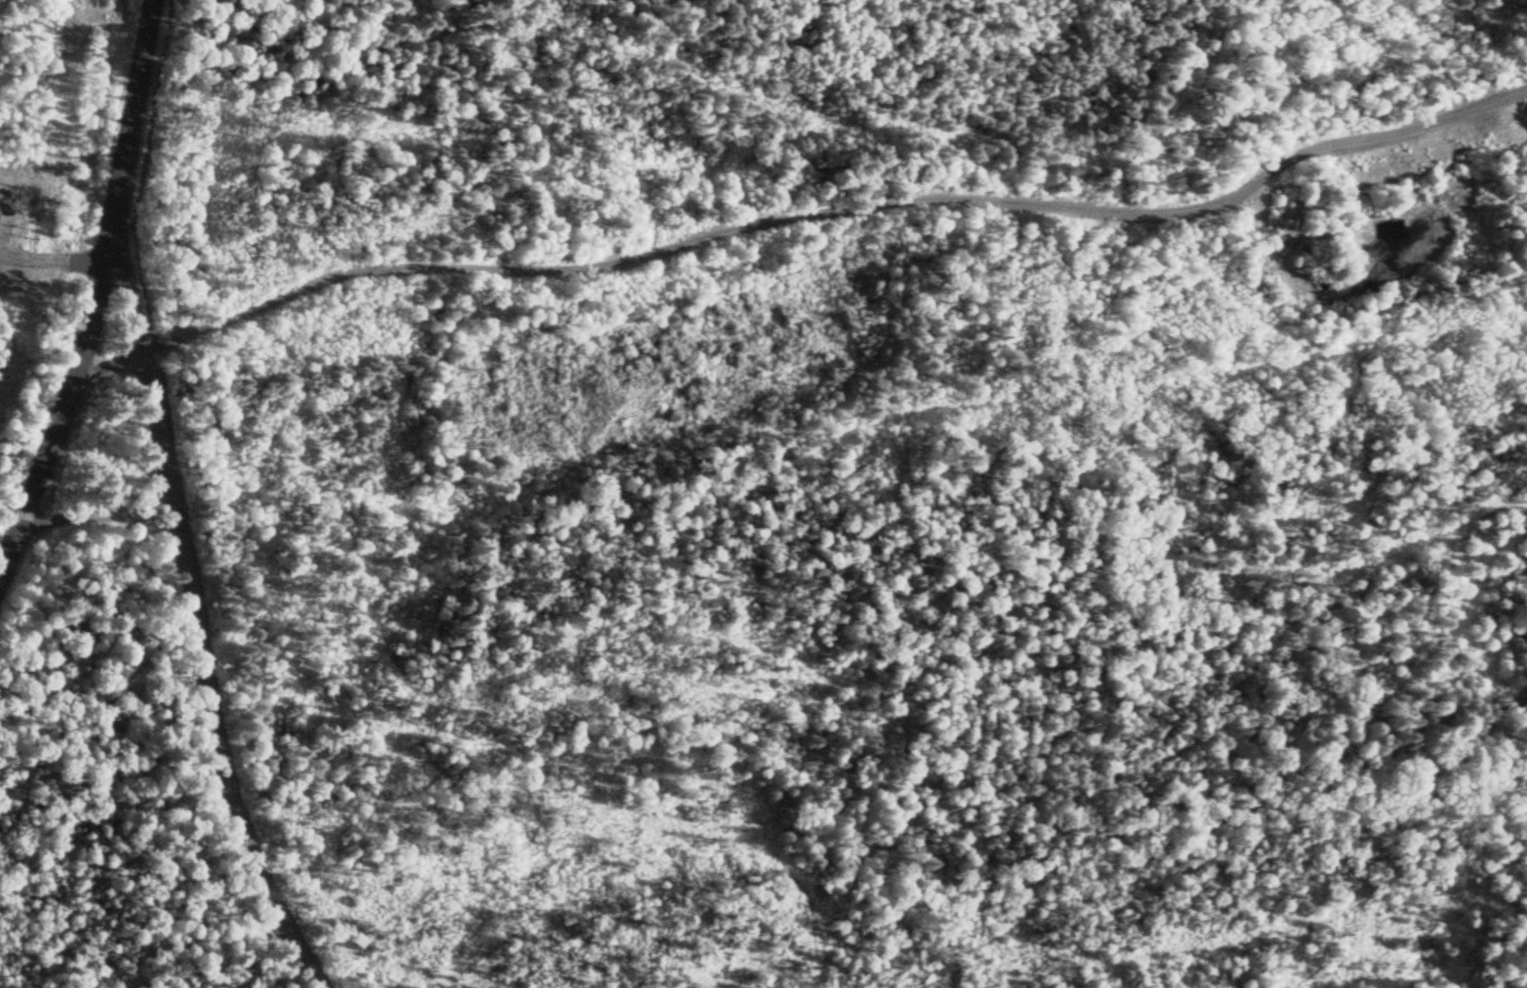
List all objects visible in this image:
building: (2, 203)
road: (802, 216)
road: (55, 262)
road: (134, 277)
road: (101, 299)
road: (14, 515)
road: (101, 520)
road: (209, 676)

